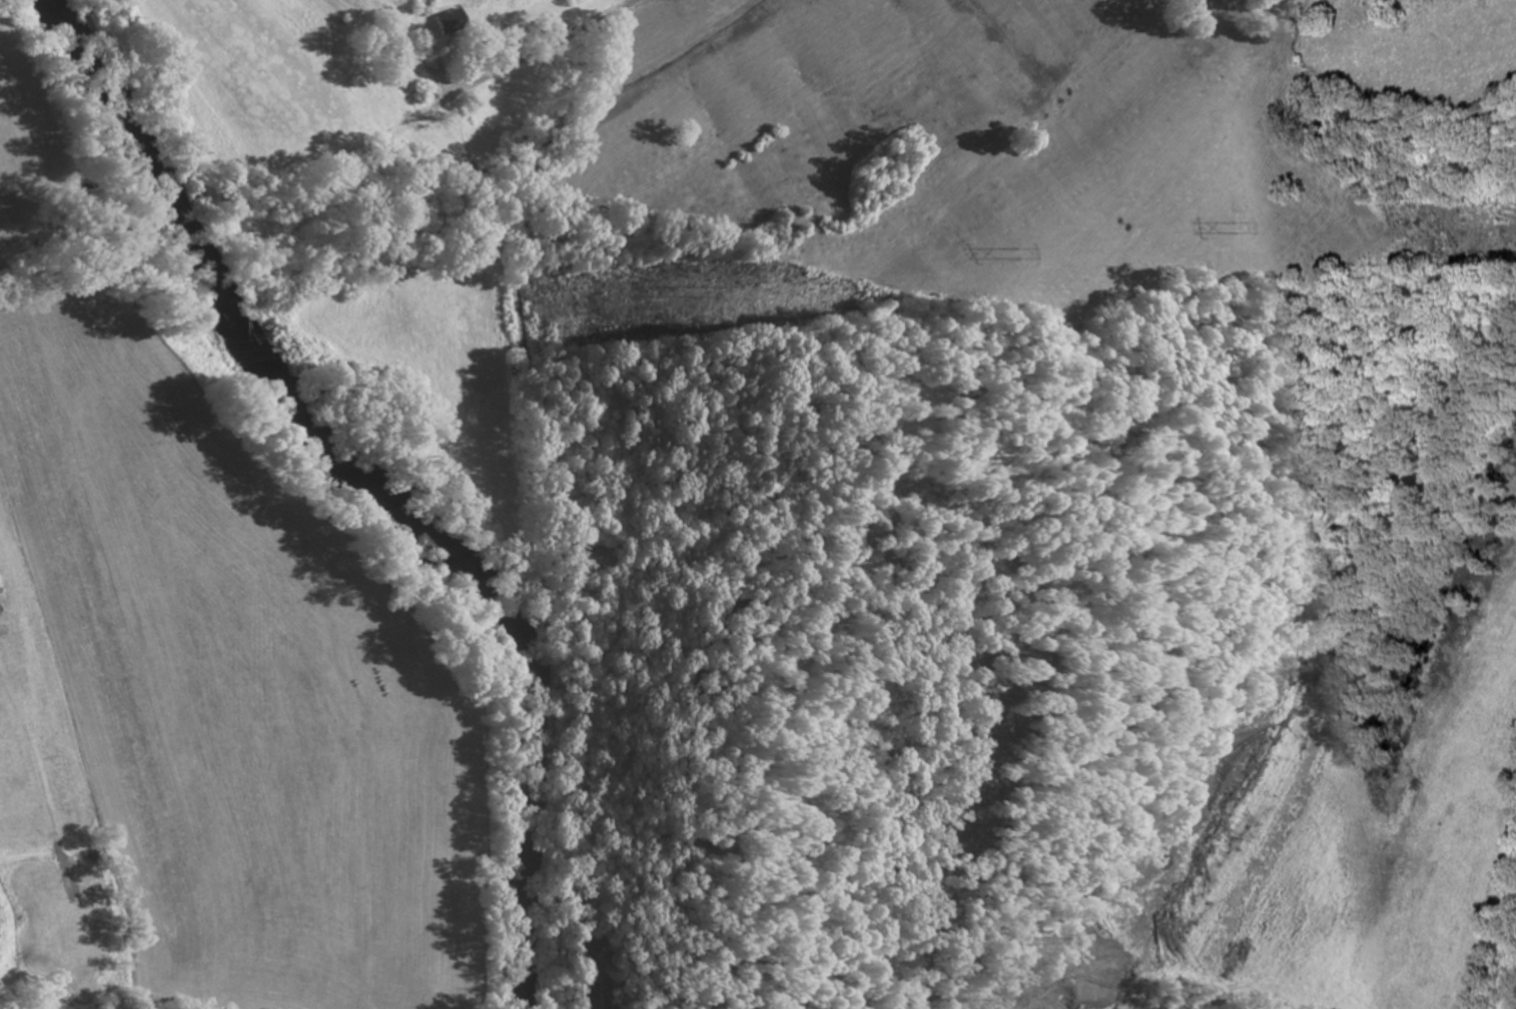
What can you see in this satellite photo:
building: (452, 28)
road: (543, 52)
river: (356, 491)

